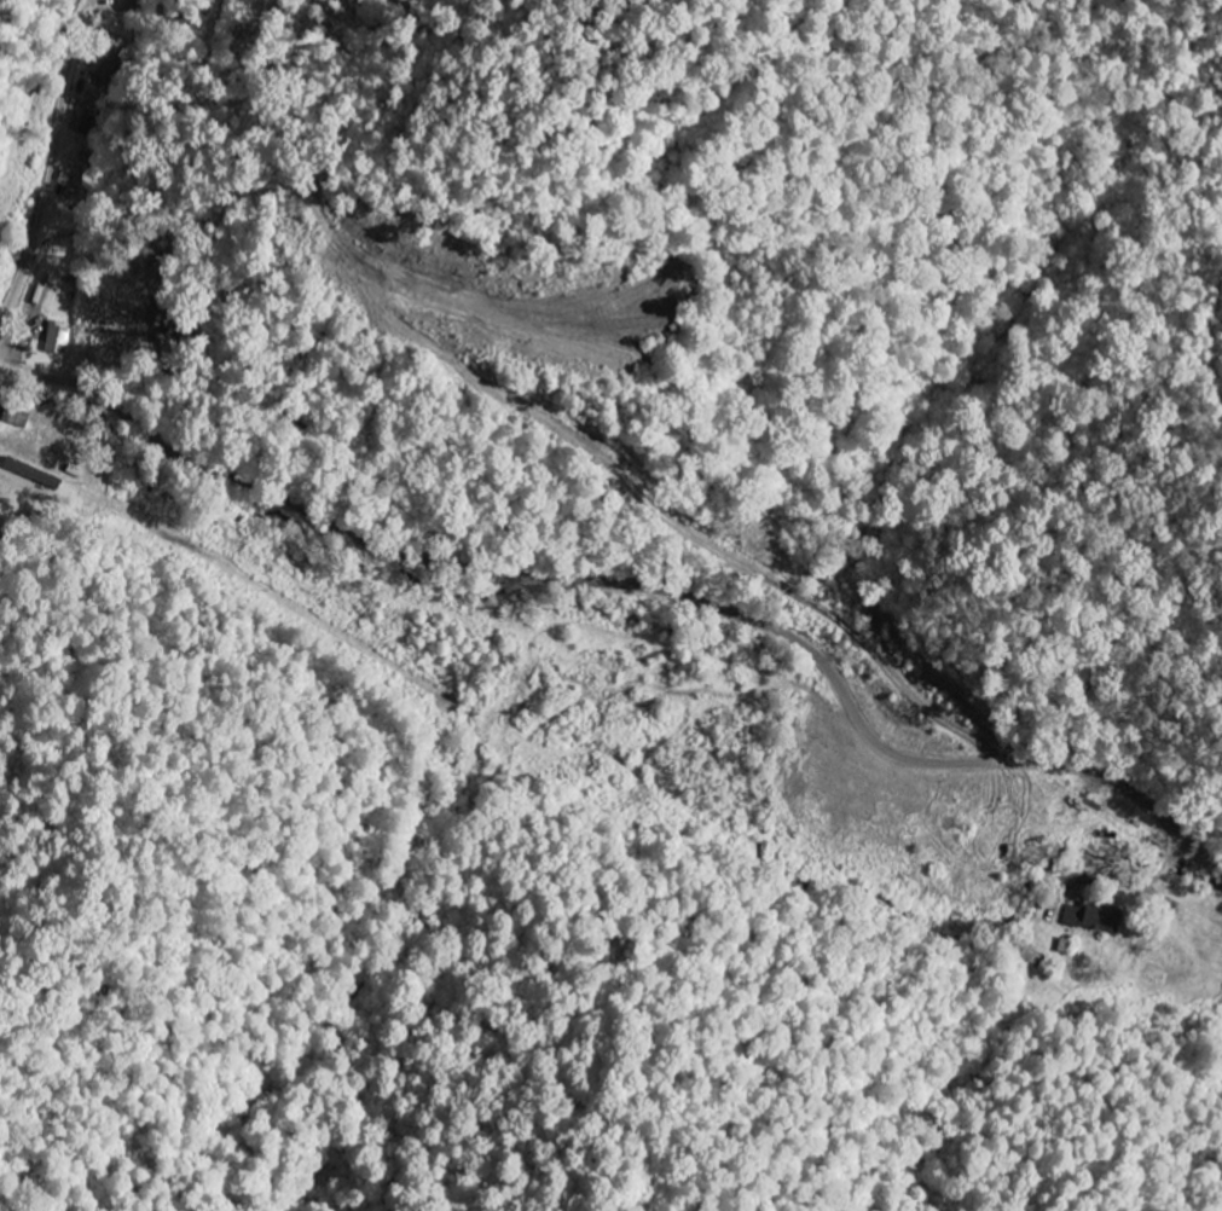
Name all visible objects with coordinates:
road: (50, 185)
building: (60, 340)
road: (1123, 383)
road: (636, 590)
building: (1089, 919)

